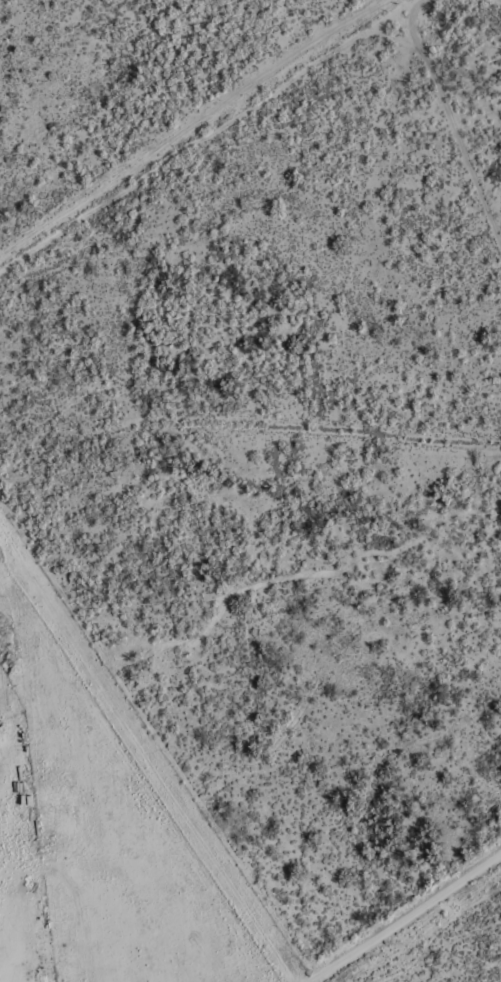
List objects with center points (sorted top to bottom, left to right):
road: (391, 912)

